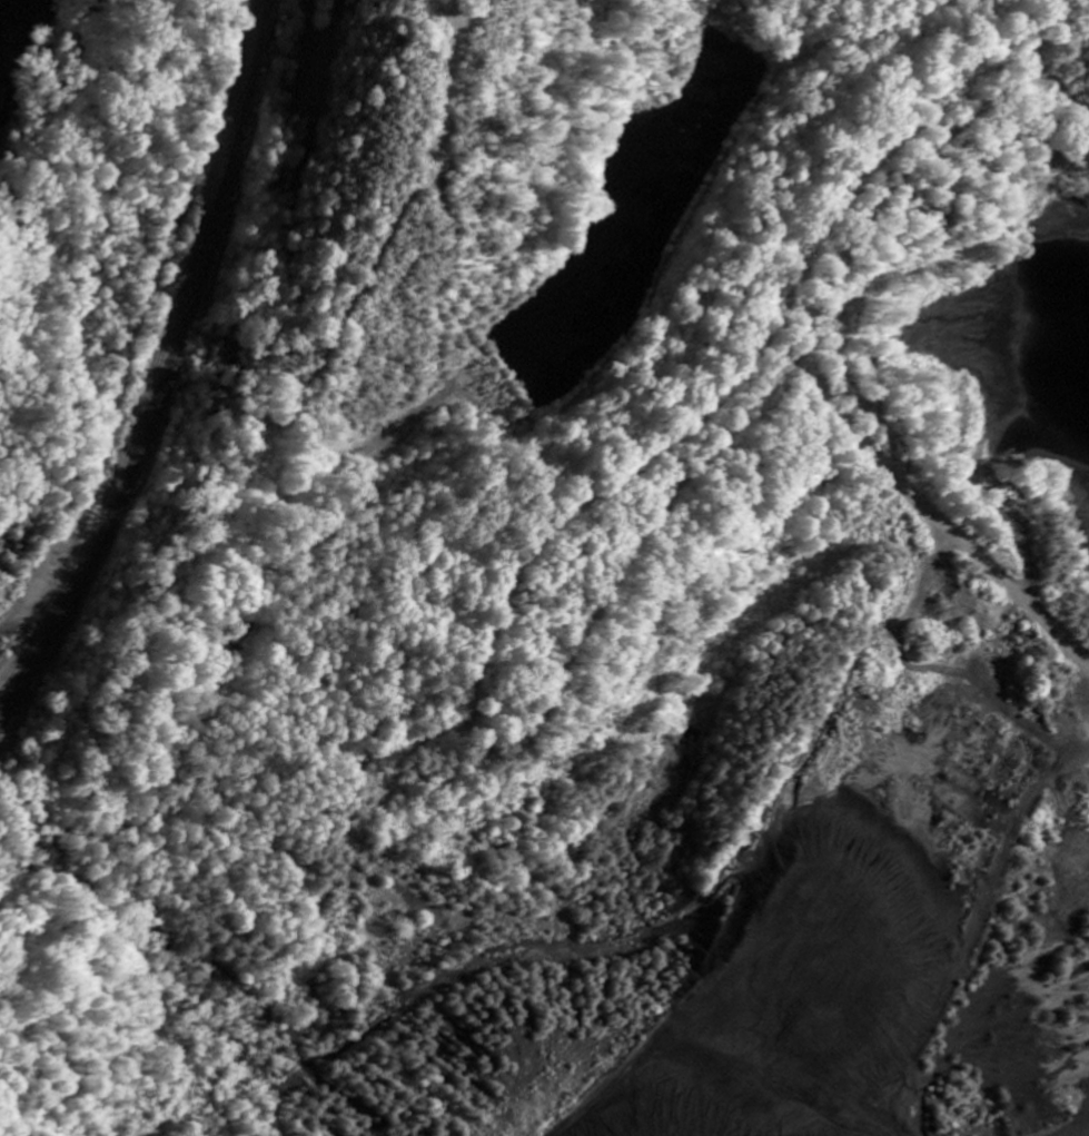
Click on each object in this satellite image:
road: (811, 342)
railway: (168, 372)

